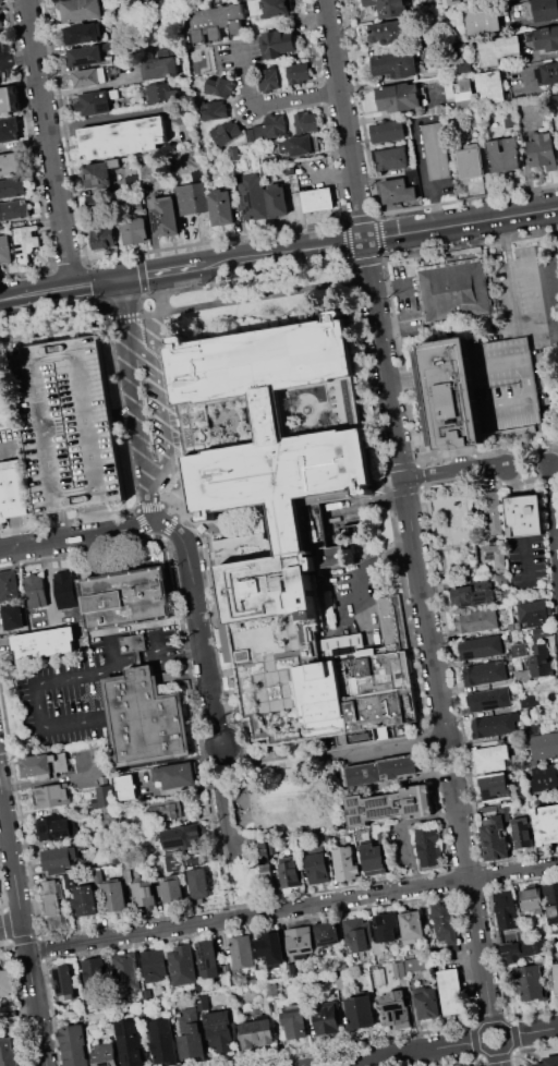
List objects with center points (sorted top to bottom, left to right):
building: (51, 0)
building: (447, 3)
building: (269, 8)
building: (388, 8)
building: (541, 9)
building: (80, 10)
building: (211, 21)
building: (482, 21)
building: (388, 31)
building: (83, 34)
building: (546, 38)
building: (276, 44)
building: (498, 49)
building: (89, 53)
road: (17, 56)
building: (395, 64)
building: (461, 65)
building: (167, 66)
road: (243, 70)
building: (547, 73)
building: (298, 74)
building: (95, 75)
building: (267, 78)
building: (221, 87)
building: (489, 87)
road: (533, 90)
building: (160, 92)
building: (464, 93)
building: (398, 97)
road: (292, 99)
building: (9, 100)
building: (94, 102)
building: (214, 111)
building: (304, 121)
building: (509, 121)
building: (276, 126)
building: (9, 129)
building: (388, 131)
building: (226, 132)
building: (121, 137)
road: (49, 143)
building: (296, 146)
building: (436, 150)
building: (542, 152)
building: (233, 154)
building: (504, 155)
building: (391, 158)
building: (269, 161)
building: (471, 161)
building: (10, 162)
road: (422, 162)
building: (146, 172)
building: (99, 173)
road: (326, 174)
building: (12, 186)
building: (397, 191)
building: (192, 195)
building: (252, 196)
building: (317, 198)
building: (276, 201)
building: (220, 207)
building: (13, 209)
building: (163, 216)
building: (135, 231)
road: (377, 238)
building: (100, 241)
building: (25, 243)
road: (507, 243)
building: (557, 244)
building: (4, 250)
road: (159, 272)
traffic signals: (122, 279)
road: (97, 282)
road: (393, 288)
building: (452, 291)
road: (37, 292)
road: (1, 298)
road: (126, 311)
road: (544, 325)
road: (145, 354)
road: (385, 368)
building: (507, 386)
parking garage: (507, 386)
building: (456, 393)
road: (137, 415)
building: (69, 424)
parking lot: (69, 424)
road: (168, 431)
building: (272, 451)
road: (554, 462)
road: (527, 464)
road: (453, 469)
building: (12, 489)
road: (150, 504)
building: (490, 511)
building: (524, 517)
road: (553, 521)
park: (456, 531)
road: (78, 536)
building: (494, 554)
road: (99, 556)
road: (363, 576)
building: (500, 578)
building: (10, 584)
building: (66, 590)
building: (35, 591)
building: (472, 594)
road: (148, 597)
building: (125, 598)
road: (107, 602)
building: (533, 613)
building: (13, 616)
building: (480, 620)
building: (509, 627)
building: (542, 631)
road: (8, 642)
building: (44, 643)
road: (112, 644)
road: (156, 644)
building: (481, 647)
building: (517, 651)
road: (159, 654)
building: (539, 661)
road: (116, 673)
building: (484, 673)
building: (523, 675)
road: (208, 677)
building: (356, 679)
road: (36, 700)
building: (488, 700)
building: (527, 701)
building: (145, 716)
building: (496, 725)
building: (544, 746)
road: (389, 748)
building: (490, 758)
road: (451, 761)
building: (44, 765)
building: (380, 772)
building: (175, 775)
building: (544, 776)
road: (20, 786)
building: (126, 786)
building: (495, 787)
park: (281, 794)
building: (51, 795)
building: (104, 796)
building: (388, 805)
building: (165, 810)
building: (109, 812)
building: (546, 824)
building: (56, 827)
road: (275, 828)
road: (460, 832)
building: (522, 833)
building: (183, 836)
road: (250, 839)
building: (494, 839)
building: (428, 847)
road: (227, 855)
building: (59, 857)
building: (116, 857)
building: (373, 858)
building: (195, 859)
building: (173, 861)
building: (344, 863)
building: (265, 868)
building: (317, 868)
building: (126, 873)
road: (259, 874)
building: (290, 874)
park: (243, 877)
building: (70, 881)
building: (198, 883)
building: (171, 888)
road: (227, 891)
building: (143, 892)
building: (113, 897)
building: (531, 899)
building: (550, 899)
building: (85, 900)
building: (51, 903)
road: (292, 907)
building: (506, 910)
building: (445, 923)
road: (10, 924)
road: (22, 924)
building: (412, 925)
building: (327, 933)
building: (387, 934)
building: (355, 935)
building: (301, 943)
building: (270, 946)
building: (523, 950)
building: (241, 952)
road: (480, 952)
building: (206, 958)
building: (415, 964)
building: (154, 965)
building: (182, 965)
building: (398, 969)
building: (94, 970)
building: (291, 971)
building: (124, 976)
building: (379, 976)
building: (556, 977)
building: (251, 980)
building: (63, 981)
building: (5, 982)
building: (233, 982)
building: (340, 982)
building: (531, 983)
building: (271, 990)
building: (452, 993)
building: (202, 1001)
building: (146, 1002)
building: (426, 1002)
building: (393, 1010)
building: (359, 1012)
building: (325, 1019)
building: (294, 1020)
building: (219, 1031)
road: (532, 1031)
building: (256, 1032)
building: (187, 1034)
building: (160, 1041)
building: (130, 1042)
building: (73, 1045)
road: (497, 1047)
road: (403, 1052)
building: (8, 1053)
building: (105, 1054)
road: (498, 1057)
building: (548, 1061)
building: (466, 1065)

